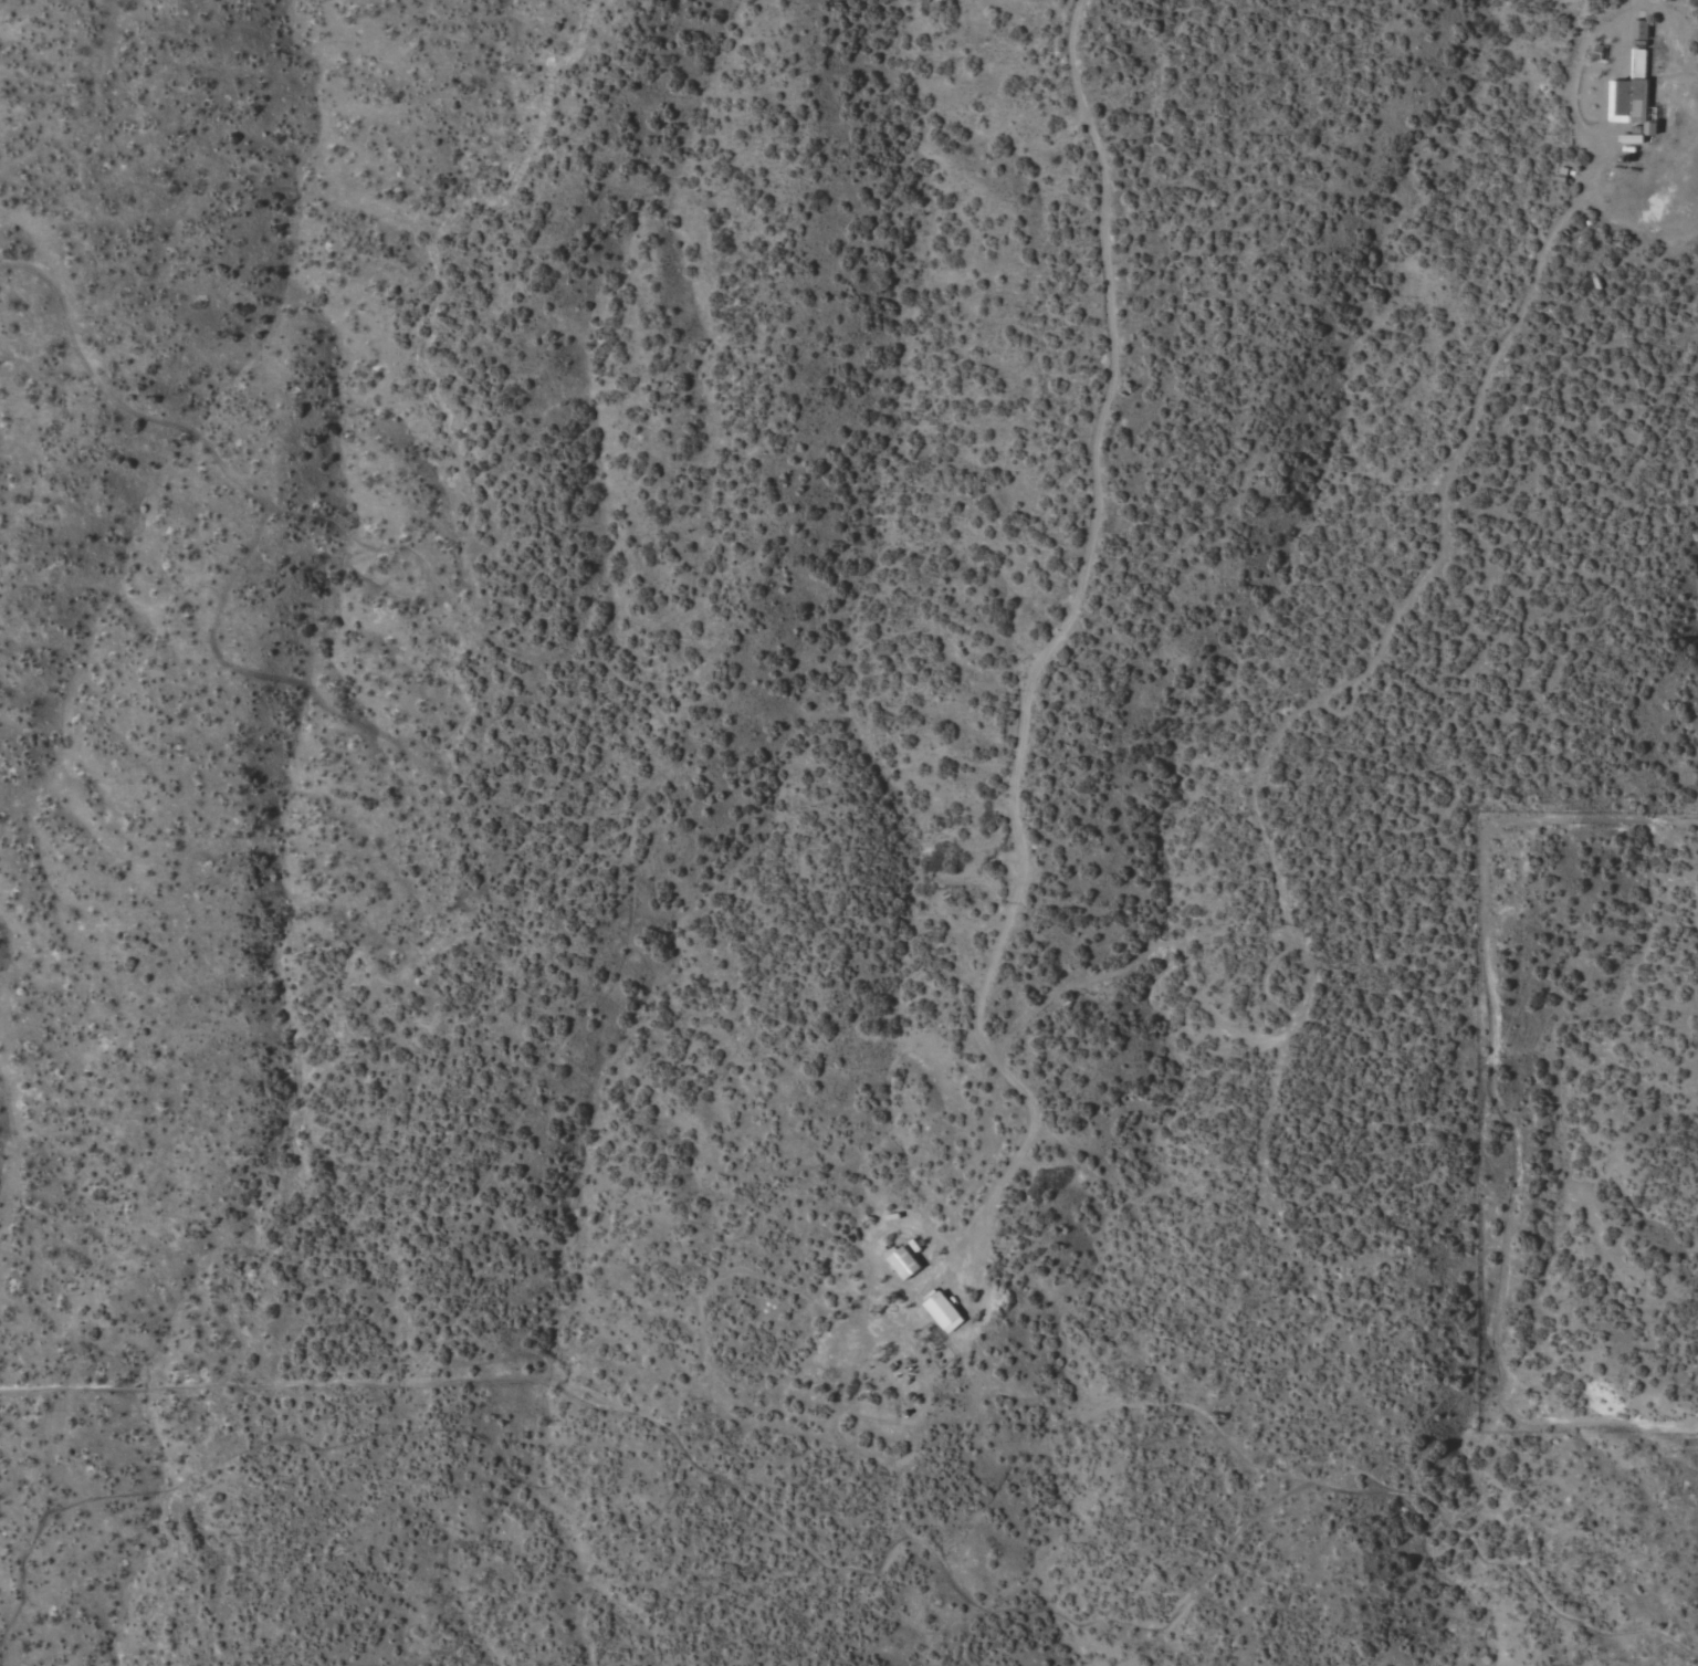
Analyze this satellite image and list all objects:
road: (1091, 537)
road: (1341, 679)
road: (1008, 1169)
building: (942, 1311)

